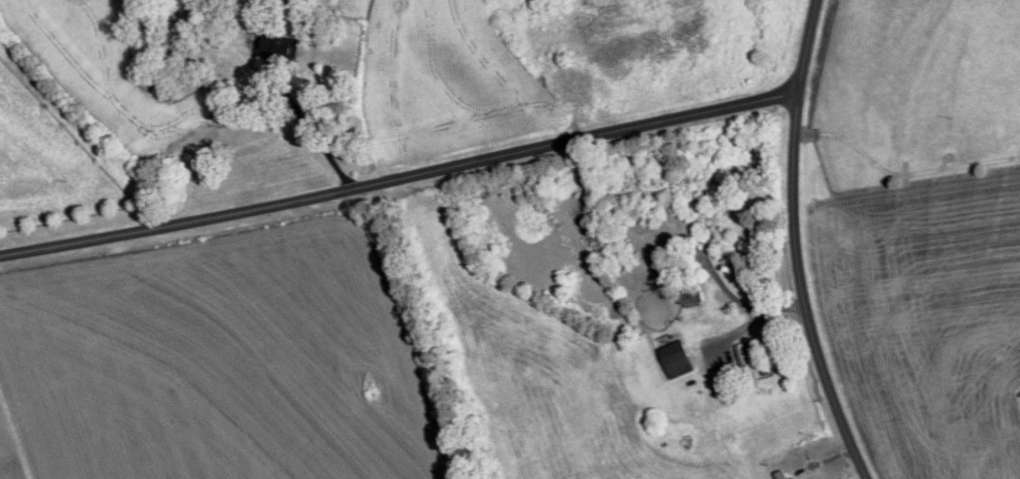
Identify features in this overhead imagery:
building: (274, 48)
road: (314, 136)
road: (902, 170)
road: (399, 176)
building: (692, 203)
road: (795, 244)
building: (691, 297)
road: (735, 297)
road: (751, 319)
building: (675, 360)
building: (744, 365)
building: (779, 475)
building: (792, 478)

